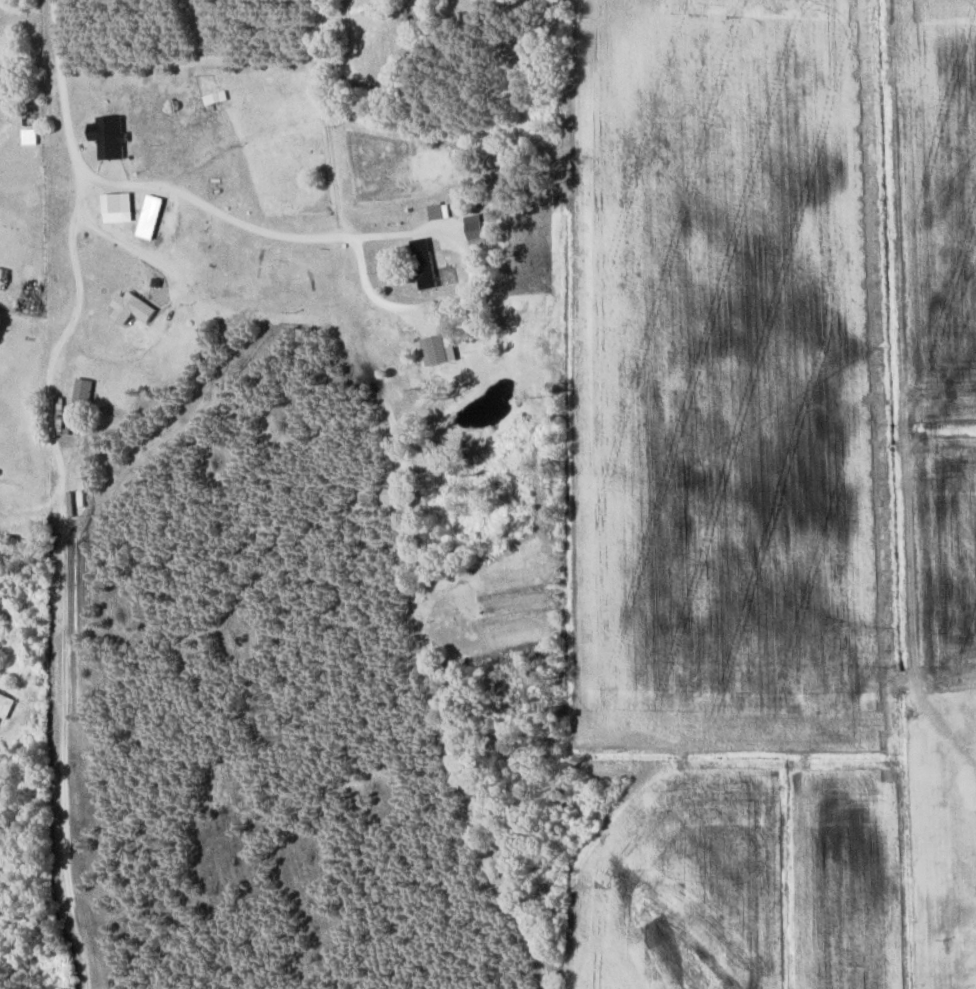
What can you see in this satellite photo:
building: (361, 5)
road: (59, 86)
building: (28, 117)
building: (106, 136)
building: (115, 203)
building: (437, 211)
building: (148, 217)
building: (473, 230)
building: (421, 264)
building: (130, 309)
building: (81, 393)
building: (9, 483)
building: (9, 613)
road: (30, 613)
building: (30, 642)
building: (4, 706)

